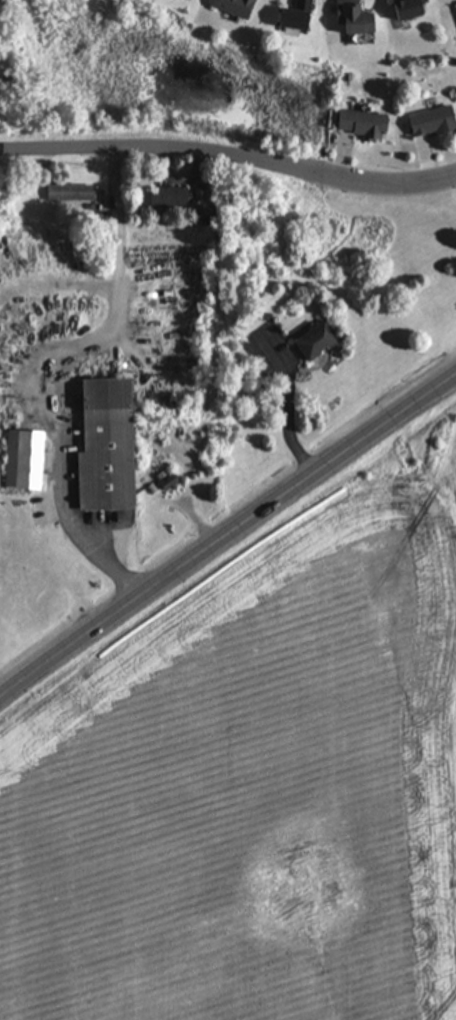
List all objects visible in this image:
building: (186, 0)
building: (231, 7)
building: (405, 9)
building: (455, 9)
building: (292, 17)
building: (350, 19)
building: (429, 121)
building: (358, 124)
road: (229, 157)
building: (68, 193)
building: (166, 198)
building: (313, 340)
road: (47, 369)
building: (101, 446)
building: (21, 460)
road: (226, 534)

